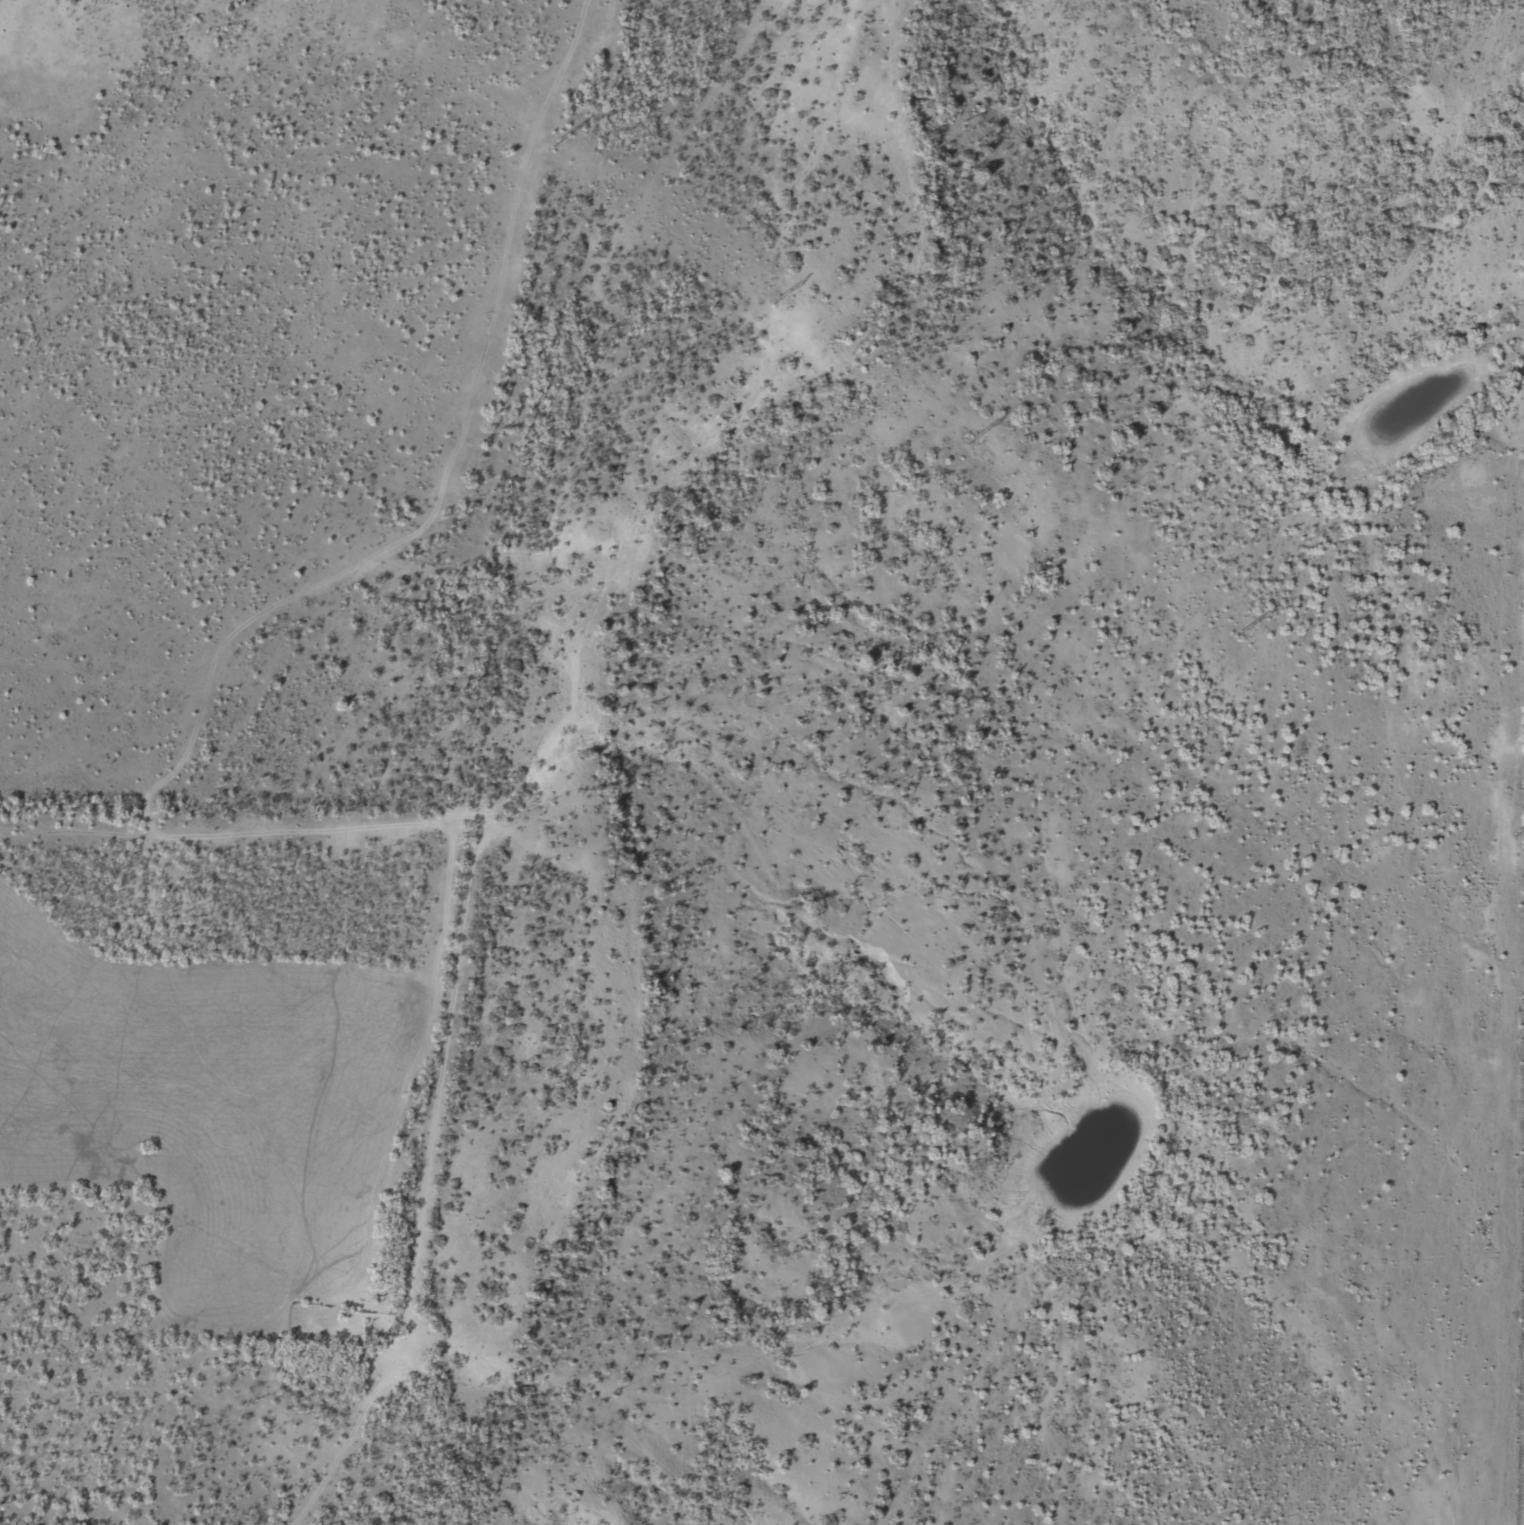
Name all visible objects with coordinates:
power tower: (557, 141)
power tower: (776, 299)
power tower: (971, 439)
power tower: (1238, 632)
road: (486, 711)
power tower: (1518, 832)
road: (1520, 1227)

